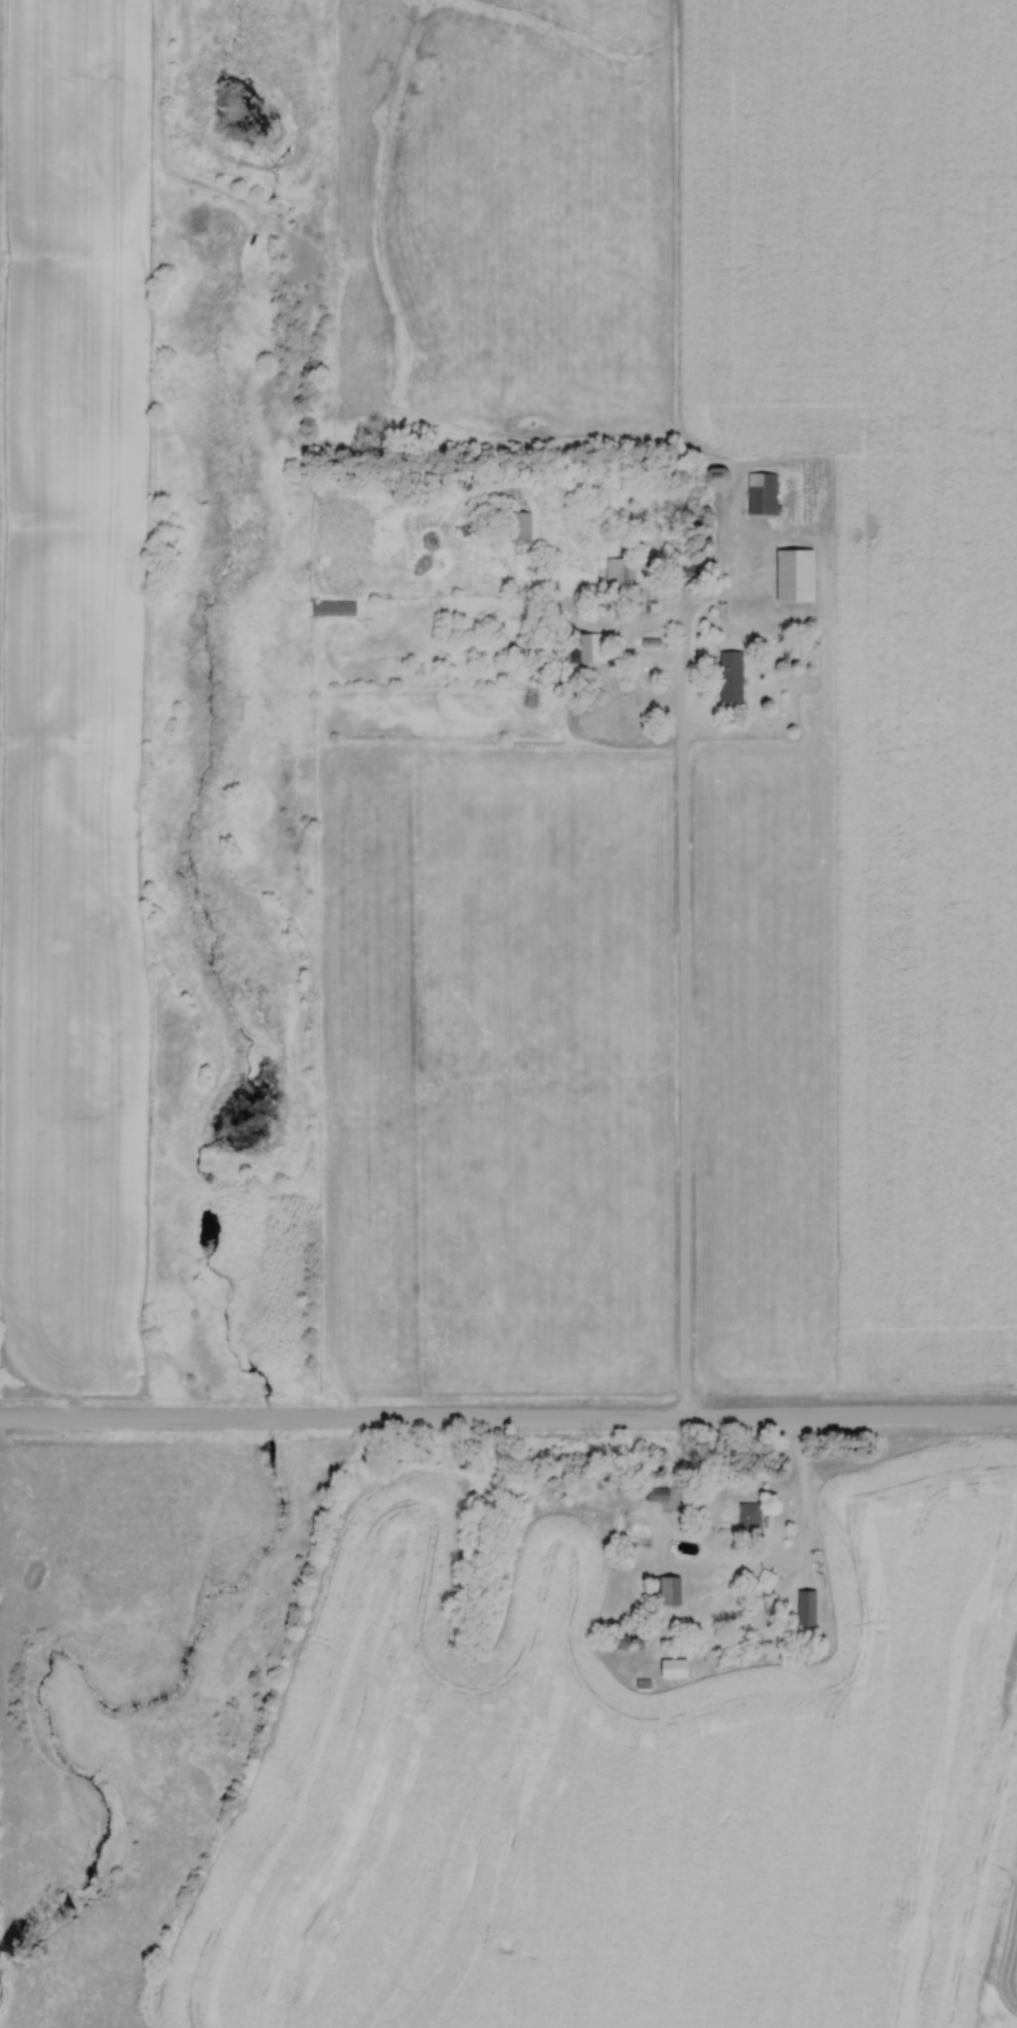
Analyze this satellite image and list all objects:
building: (762, 494)
building: (524, 526)
building: (627, 572)
building: (796, 575)
building: (333, 607)
building: (594, 647)
building: (732, 676)
road: (683, 1008)
road: (508, 1422)
road: (803, 1503)
building: (749, 1518)
building: (669, 1590)
building: (806, 1607)
building: (674, 1668)

